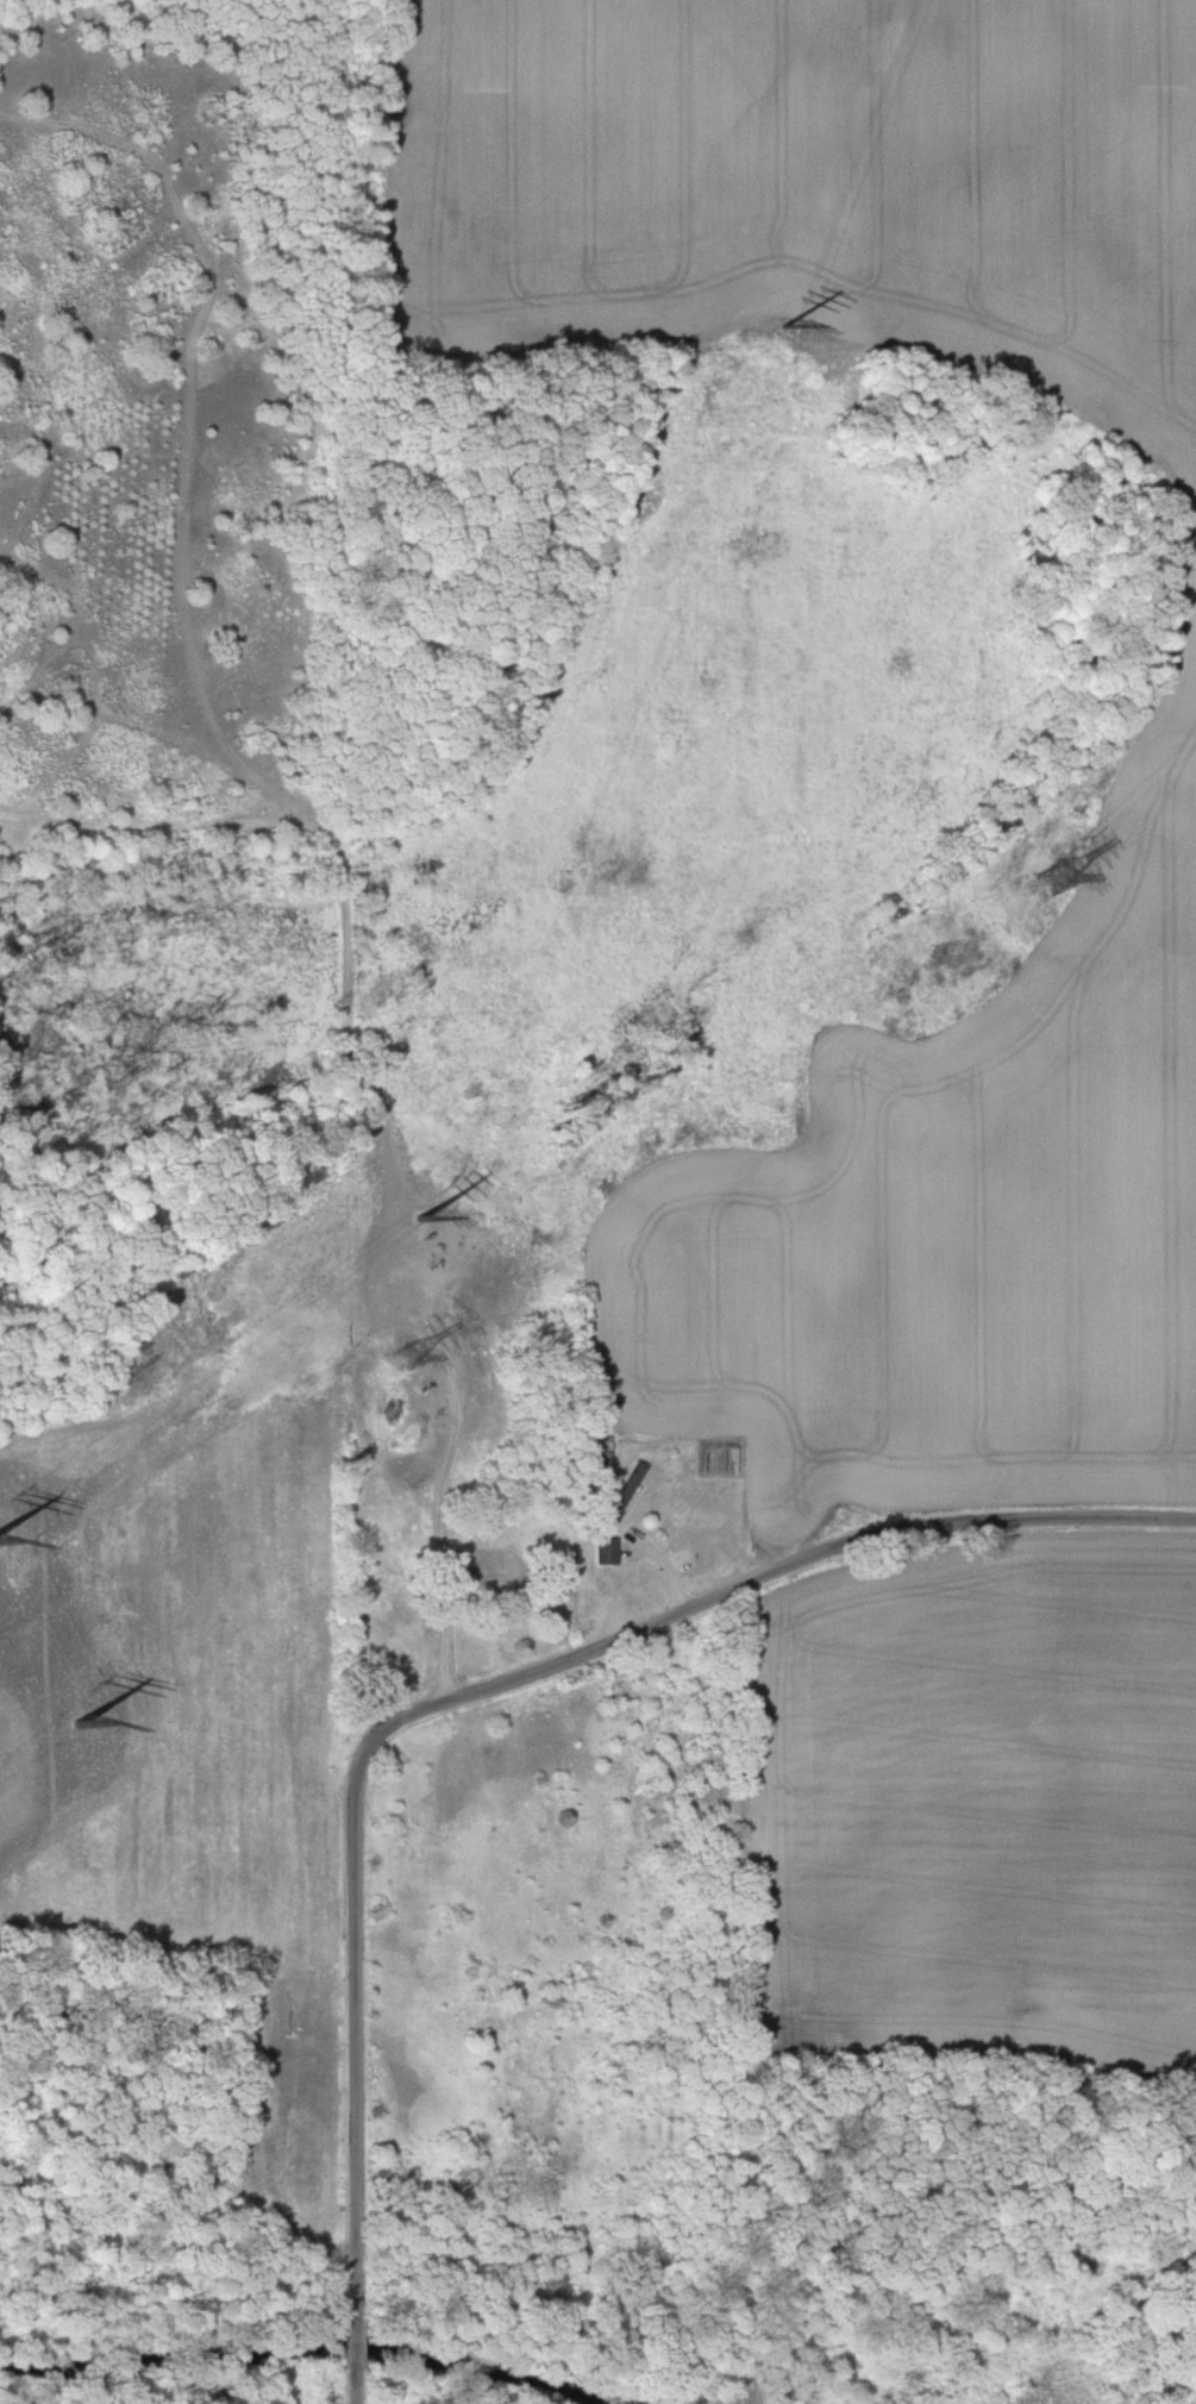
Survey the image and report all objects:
power tower: (783, 318)
power tower: (1054, 878)
power tower: (415, 1209)
power tower: (405, 1358)
road: (453, 1419)
building: (624, 1490)
road: (1042, 1517)
building: (603, 1551)
power tower: (93, 1724)
road: (358, 1791)

